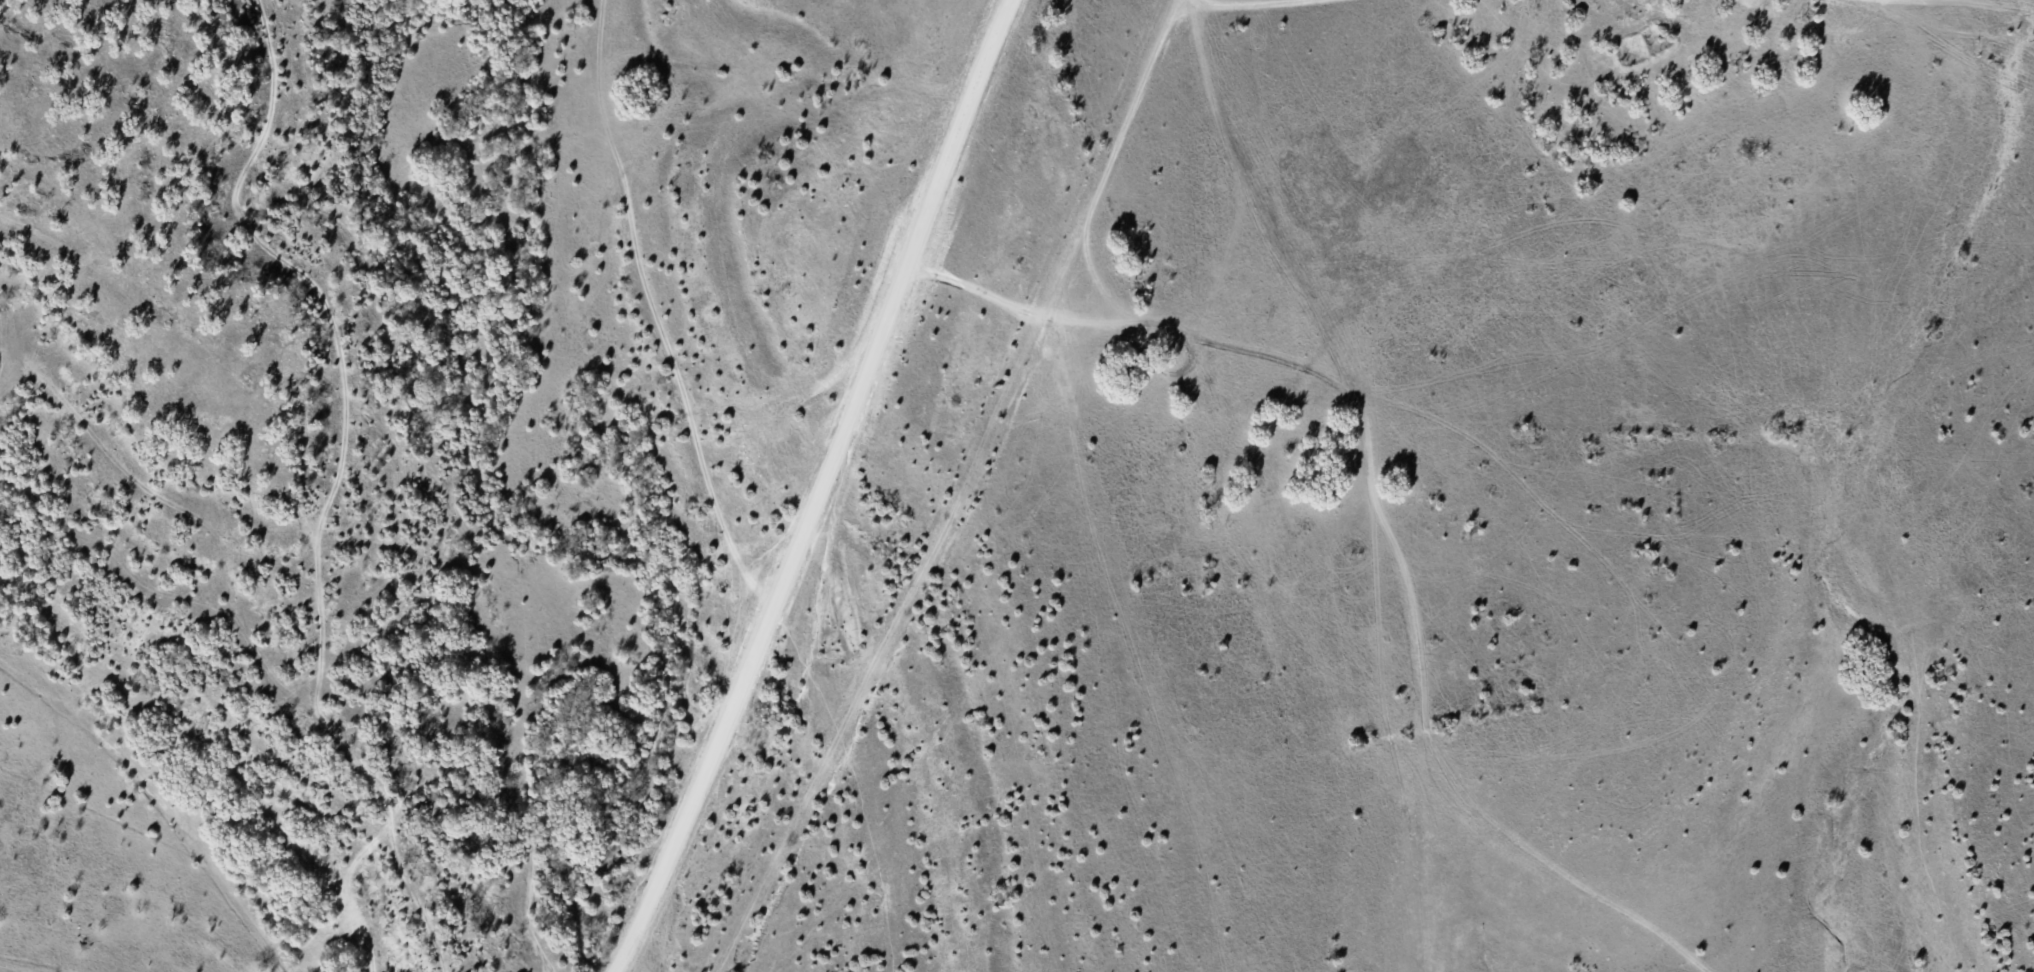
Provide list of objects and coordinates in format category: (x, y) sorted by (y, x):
road: (819, 489)

